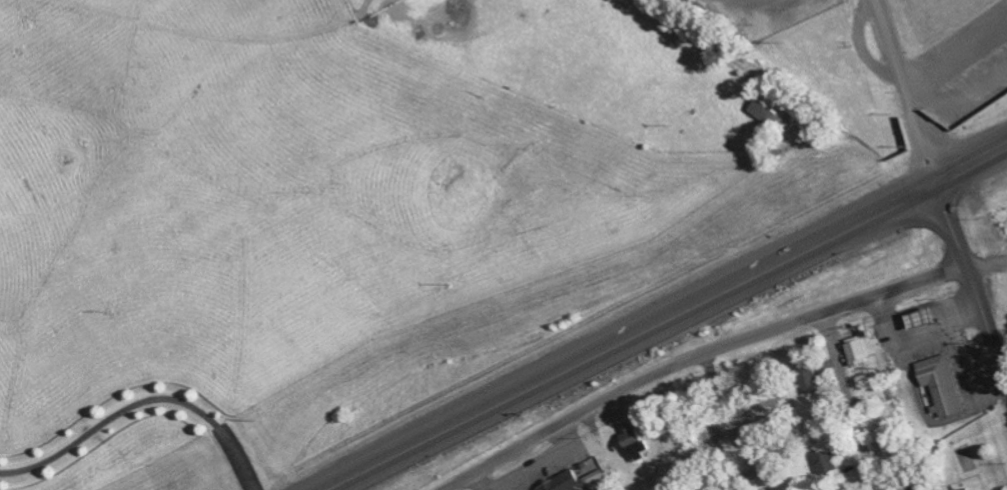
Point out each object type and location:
road: (904, 89)
road: (969, 160)
road: (812, 241)
road: (986, 264)
road: (974, 292)
road: (912, 333)
building: (854, 351)
road: (695, 356)
road: (980, 359)
building: (939, 383)
road: (989, 391)
road: (509, 397)
road: (140, 400)
road: (849, 401)
road: (957, 417)
building: (630, 440)
building: (572, 481)

